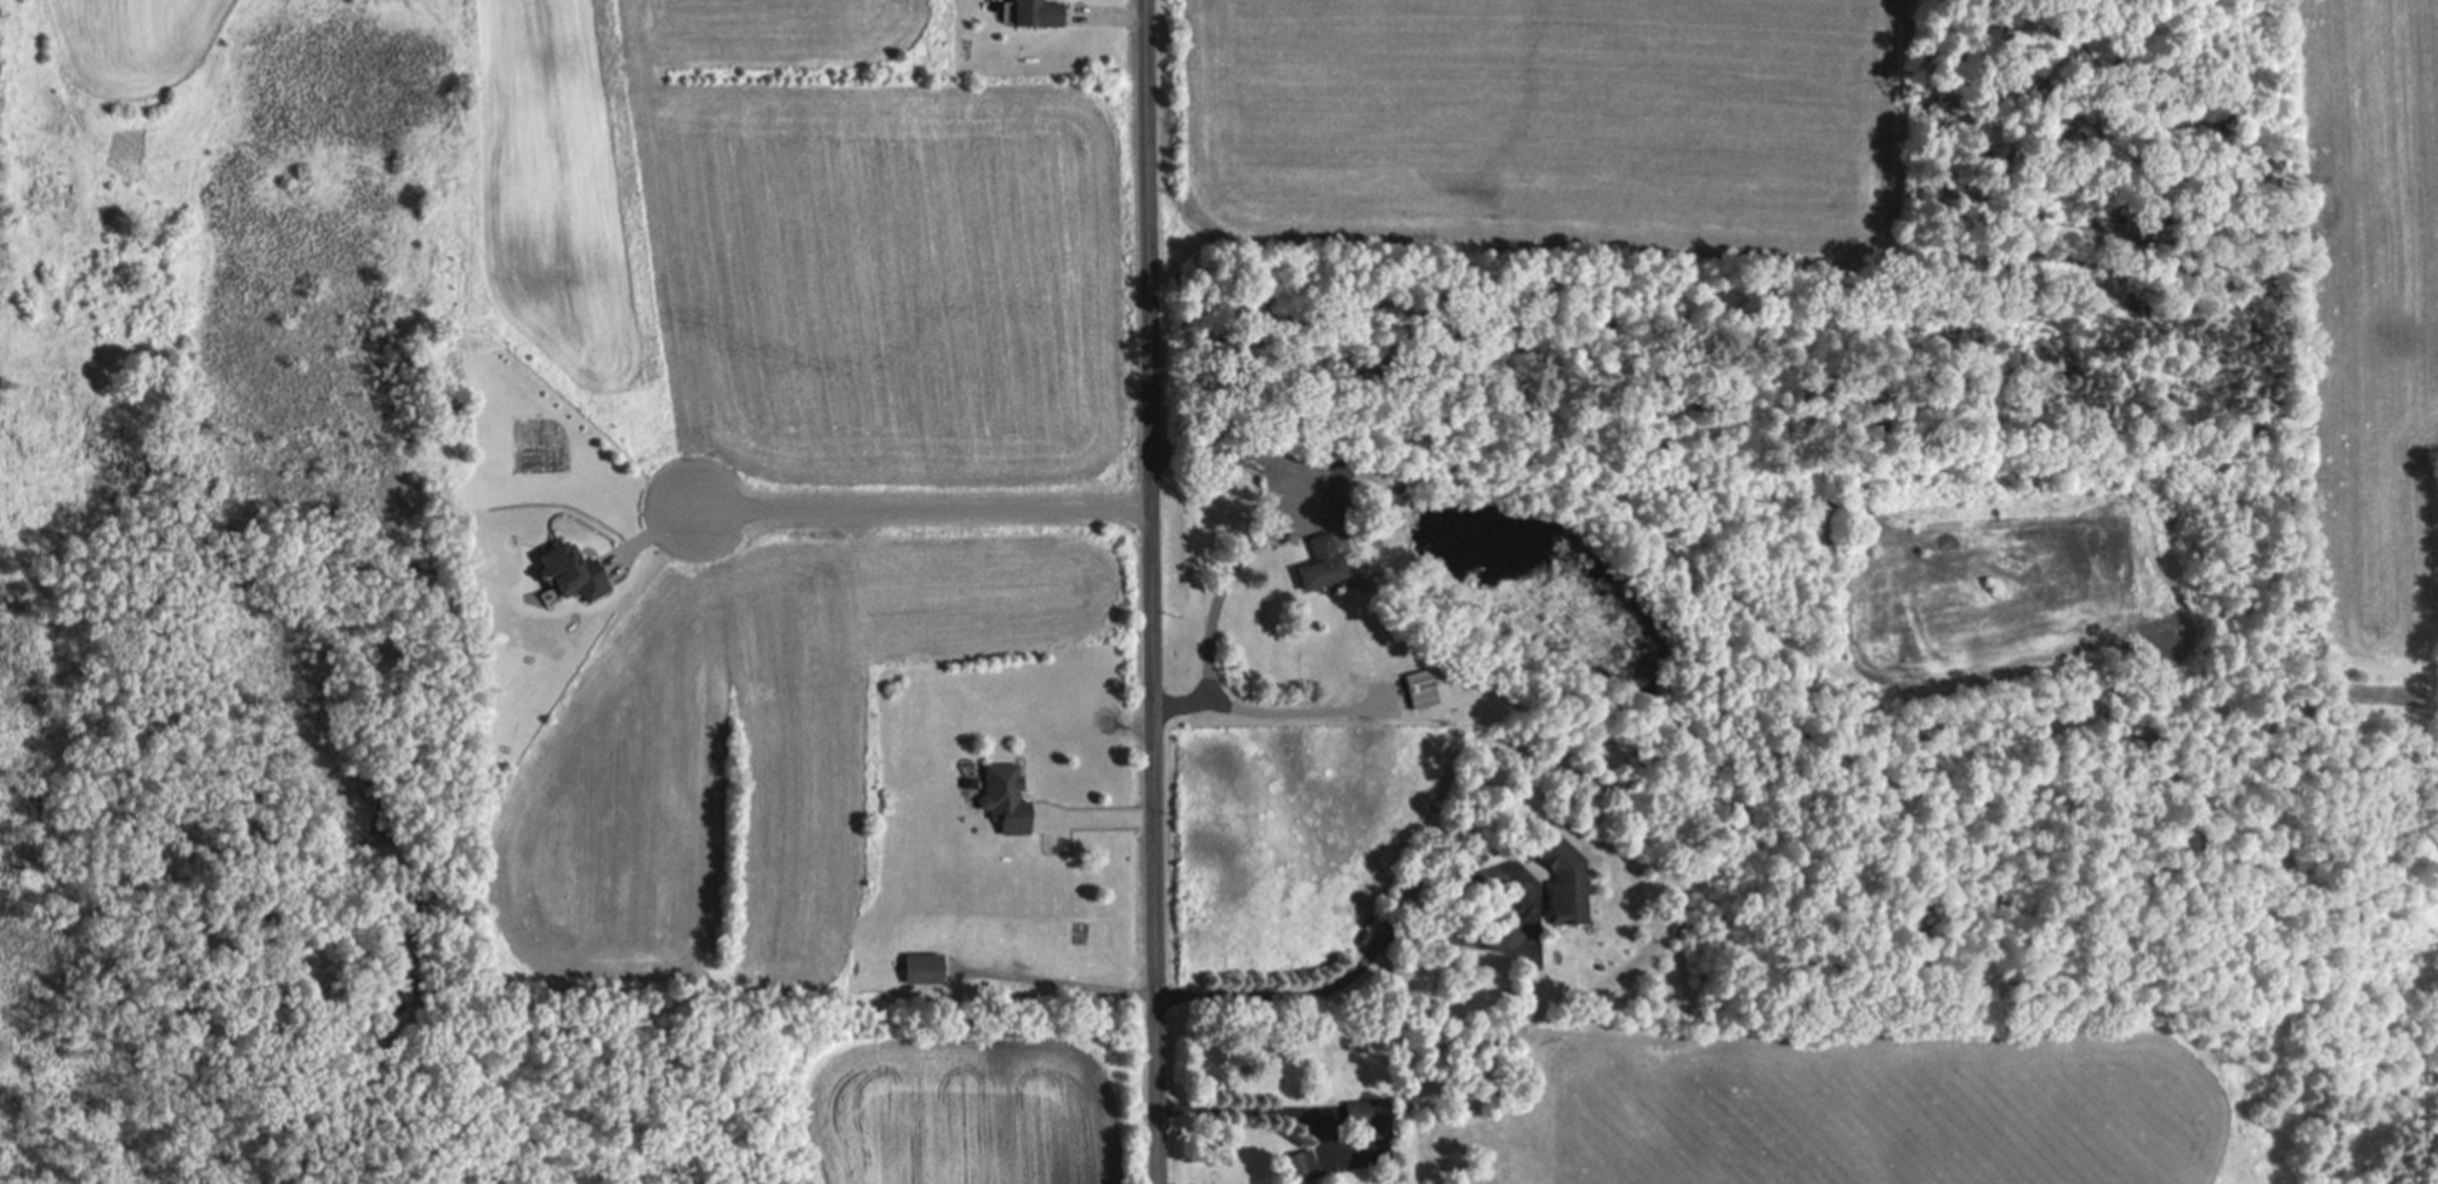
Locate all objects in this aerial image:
building: (1035, 13)
road: (921, 507)
building: (1320, 563)
building: (570, 571)
road: (1153, 592)
road: (1214, 604)
building: (1421, 688)
road: (1296, 707)
building: (1004, 798)
road: (1093, 813)
building: (1565, 883)
road: (1403, 890)
building: (922, 968)
road: (1249, 1106)
building: (1368, 1112)
building: (1303, 1166)

